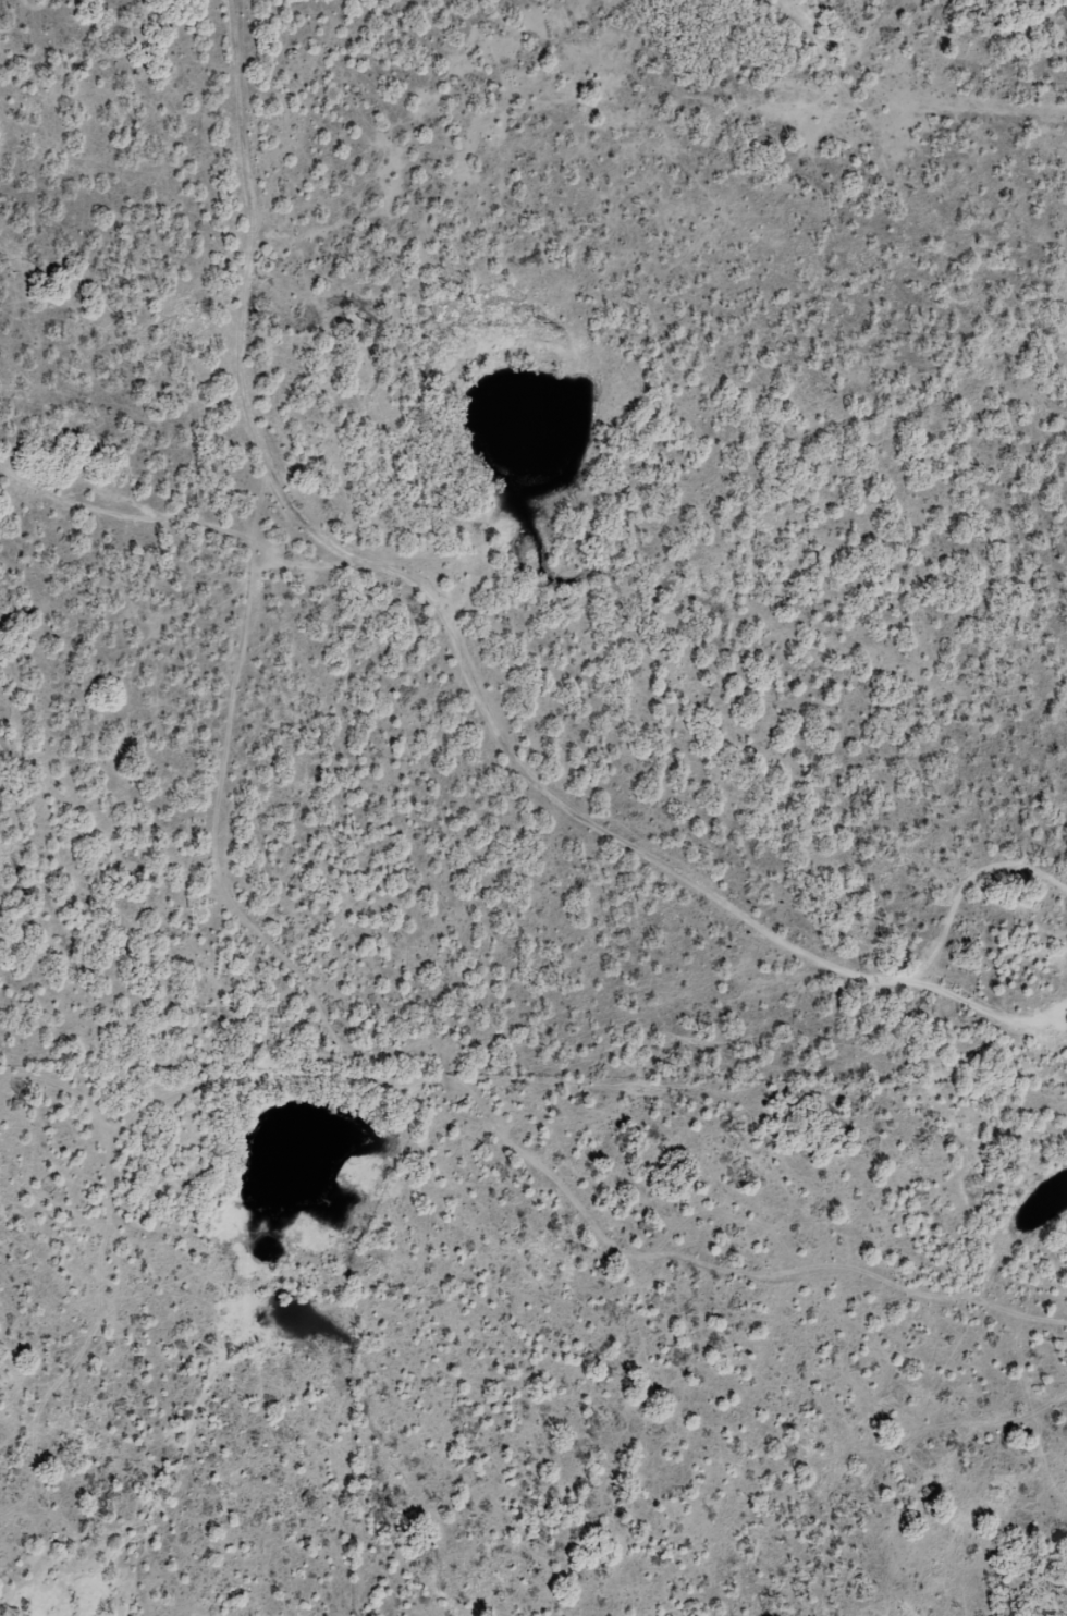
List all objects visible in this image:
road: (457, 1084)

